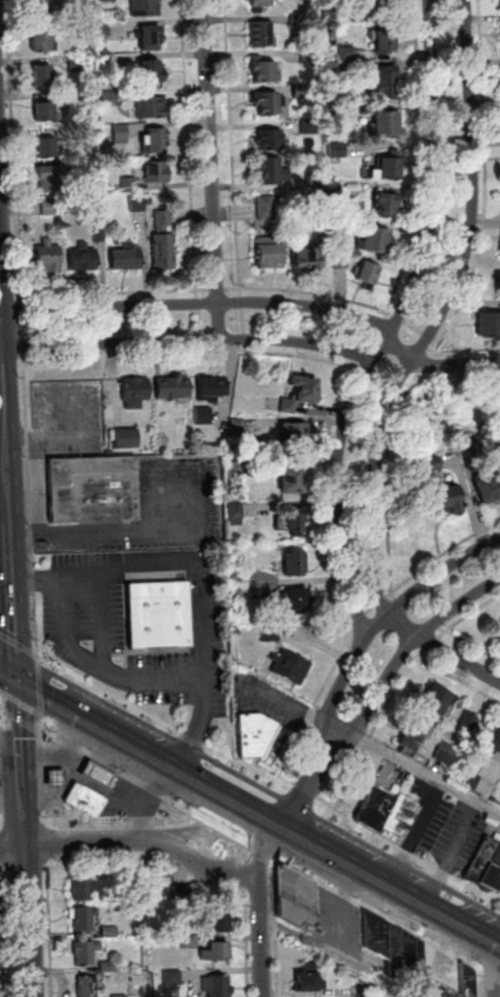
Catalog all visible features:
building: (111, 0)
building: (72, 1)
building: (261, 3)
building: (383, 6)
building: (147, 7)
building: (41, 8)
building: (300, 20)
building: (104, 28)
building: (262, 35)
building: (151, 37)
building: (386, 41)
building: (42, 42)
building: (349, 54)
building: (310, 57)
building: (79, 64)
building: (265, 70)
building: (331, 70)
building: (152, 72)
building: (43, 76)
building: (382, 81)
building: (302, 91)
building: (111, 98)
building: (270, 102)
building: (152, 108)
road: (484, 110)
building: (334, 112)
building: (47, 113)
building: (388, 124)
building: (314, 126)
building: (122, 134)
building: (156, 141)
building: (272, 141)
road: (191, 148)
road: (234, 148)
building: (49, 149)
building: (338, 150)
road: (424, 162)
building: (87, 167)
building: (391, 167)
road: (213, 170)
building: (272, 171)
building: (158, 172)
building: (51, 179)
building: (316, 180)
building: (130, 185)
building: (336, 191)
building: (317, 203)
building: (138, 205)
building: (387, 205)
building: (50, 207)
building: (267, 208)
building: (165, 221)
building: (338, 224)
building: (101, 235)
building: (376, 241)
building: (165, 251)
building: (271, 256)
building: (49, 257)
building: (84, 258)
building: (127, 258)
building: (307, 259)
building: (341, 261)
building: (369, 273)
building: (498, 280)
road: (219, 290)
road: (312, 292)
road: (117, 293)
street lamp: (231, 296)
road: (242, 303)
road: (199, 304)
road: (203, 304)
road: (441, 316)
road: (456, 318)
road: (400, 320)
road: (204, 322)
road: (244, 324)
road: (383, 324)
building: (489, 324)
road: (398, 325)
road: (23, 326)
road: (413, 331)
road: (211, 339)
road: (373, 339)
road: (199, 340)
road: (426, 341)
road: (435, 347)
street lamp: (433, 351)
road: (286, 354)
road: (434, 354)
road: (362, 355)
street lamp: (457, 356)
road: (120, 357)
road: (426, 364)
road: (441, 365)
road: (5, 374)
building: (306, 387)
building: (170, 390)
building: (210, 390)
building: (133, 394)
building: (289, 406)
building: (201, 418)
building: (236, 428)
building: (294, 435)
building: (124, 441)
building: (469, 449)
building: (429, 467)
building: (235, 469)
road: (388, 479)
building: (293, 481)
building: (486, 489)
road: (5, 491)
building: (90, 491)
street lamp: (333, 495)
building: (444, 501)
parking lot: (155, 511)
building: (236, 511)
building: (295, 526)
road: (326, 538)
road: (5, 547)
street lamp: (176, 549)
street lamp: (85, 552)
building: (294, 566)
road: (199, 571)
road: (420, 571)
building: (242, 584)
road: (11, 594)
street lamp: (382, 594)
road: (104, 601)
building: (300, 603)
building: (156, 612)
road: (386, 618)
building: (499, 620)
building: (499, 624)
road: (443, 629)
road: (397, 631)
street lamp: (35, 634)
building: (272, 634)
road: (16, 642)
parking lot: (91, 643)
road: (407, 651)
road: (35, 654)
road: (457, 661)
building: (292, 668)
road: (116, 672)
road: (8, 678)
road: (458, 678)
road: (400, 679)
traffic signals: (16, 683)
road: (39, 694)
parking lot: (263, 696)
parking lot: (265, 696)
street lamp: (227, 699)
building: (436, 700)
building: (453, 701)
road: (52, 703)
road: (308, 710)
road: (20, 719)
road: (303, 721)
building: (470, 721)
building: (252, 732)
building: (411, 738)
road: (366, 741)
building: (492, 743)
road: (374, 745)
street lamp: (316, 746)
building: (449, 754)
road: (20, 764)
street lamp: (232, 765)
road: (43, 775)
road: (123, 775)
building: (100, 777)
road: (270, 778)
road: (347, 779)
building: (56, 780)
building: (471, 781)
road: (306, 783)
street lamp: (278, 791)
building: (86, 801)
parking lot: (135, 803)
building: (375, 810)
parking lot: (430, 811)
building: (400, 814)
road: (2, 821)
road: (125, 821)
road: (25, 822)
road: (216, 823)
road: (199, 828)
road: (294, 834)
road: (237, 835)
parking lot: (464, 838)
road: (205, 842)
road: (78, 843)
road: (239, 848)
road: (261, 849)
road: (1, 850)
building: (482, 860)
road: (201, 863)
road: (1, 870)
road: (240, 873)
building: (492, 875)
building: (137, 886)
building: (85, 891)
building: (181, 893)
building: (297, 899)
road: (342, 903)
road: (264, 904)
road: (381, 914)
building: (84, 919)
road: (27, 921)
parking lot: (342, 923)
building: (220, 924)
road: (278, 927)
building: (110, 932)
road: (4, 933)
road: (51, 933)
building: (191, 943)
road: (250, 943)
building: (396, 948)
building: (87, 953)
building: (217, 953)
road: (340, 956)
building: (109, 967)
road: (498, 971)
road: (492, 975)
building: (173, 978)
building: (310, 981)
building: (468, 982)
road: (479, 982)
building: (92, 986)
building: (218, 986)
building: (445, 992)
building: (121, 996)

